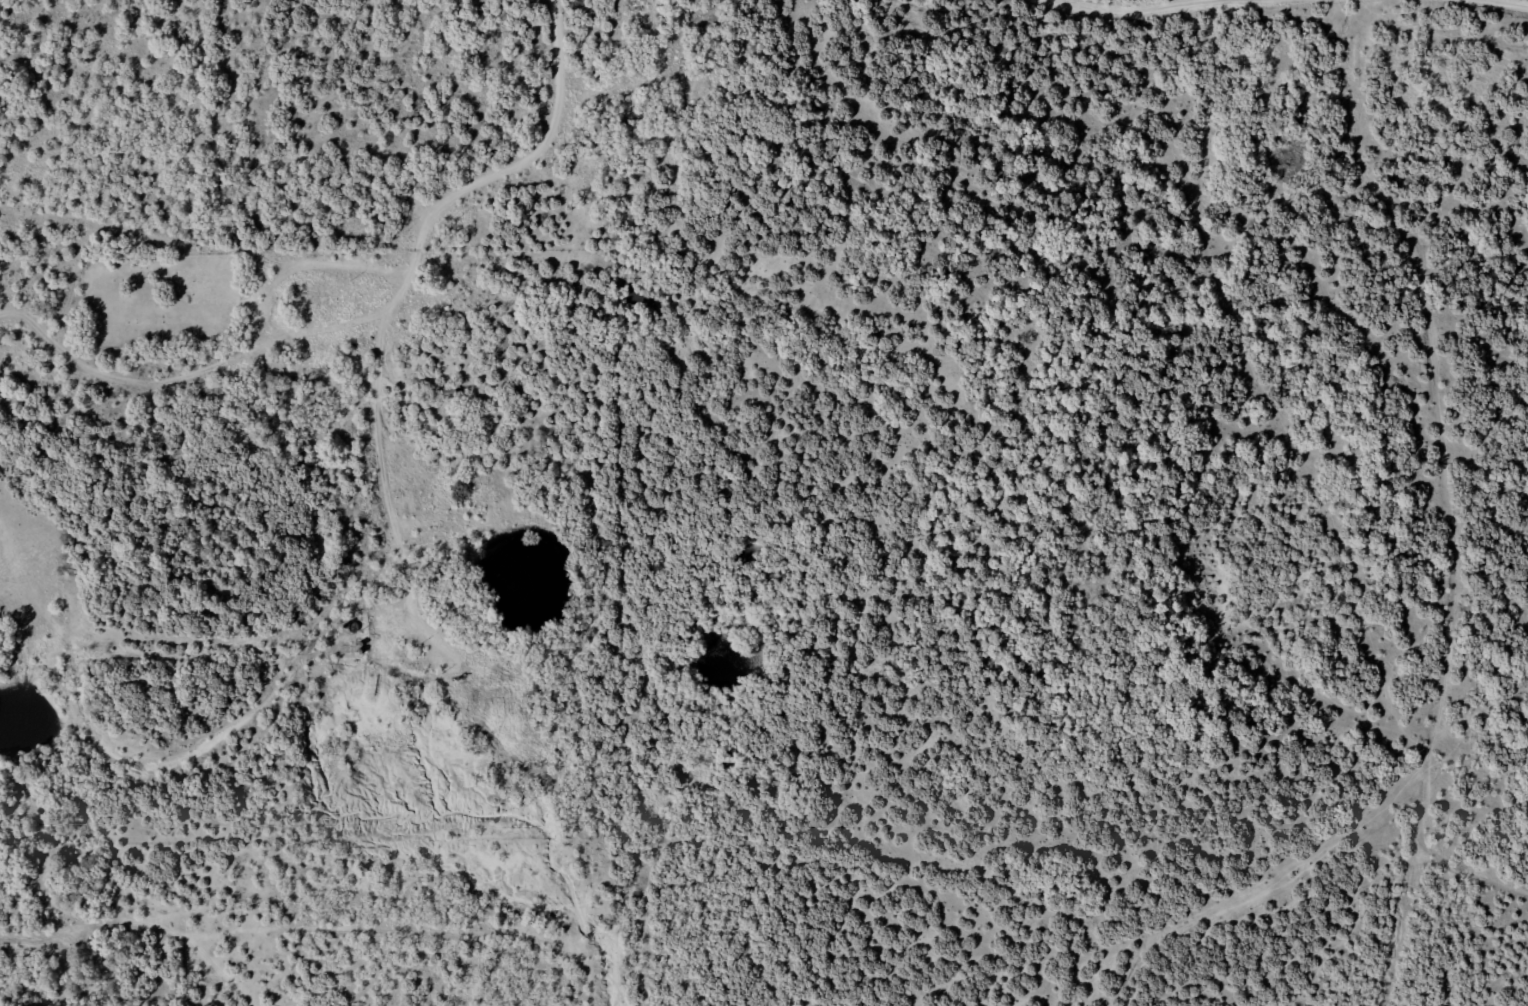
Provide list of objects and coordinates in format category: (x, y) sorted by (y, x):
road: (1156, 13)
road: (540, 148)
park: (161, 303)
building: (323, 306)

